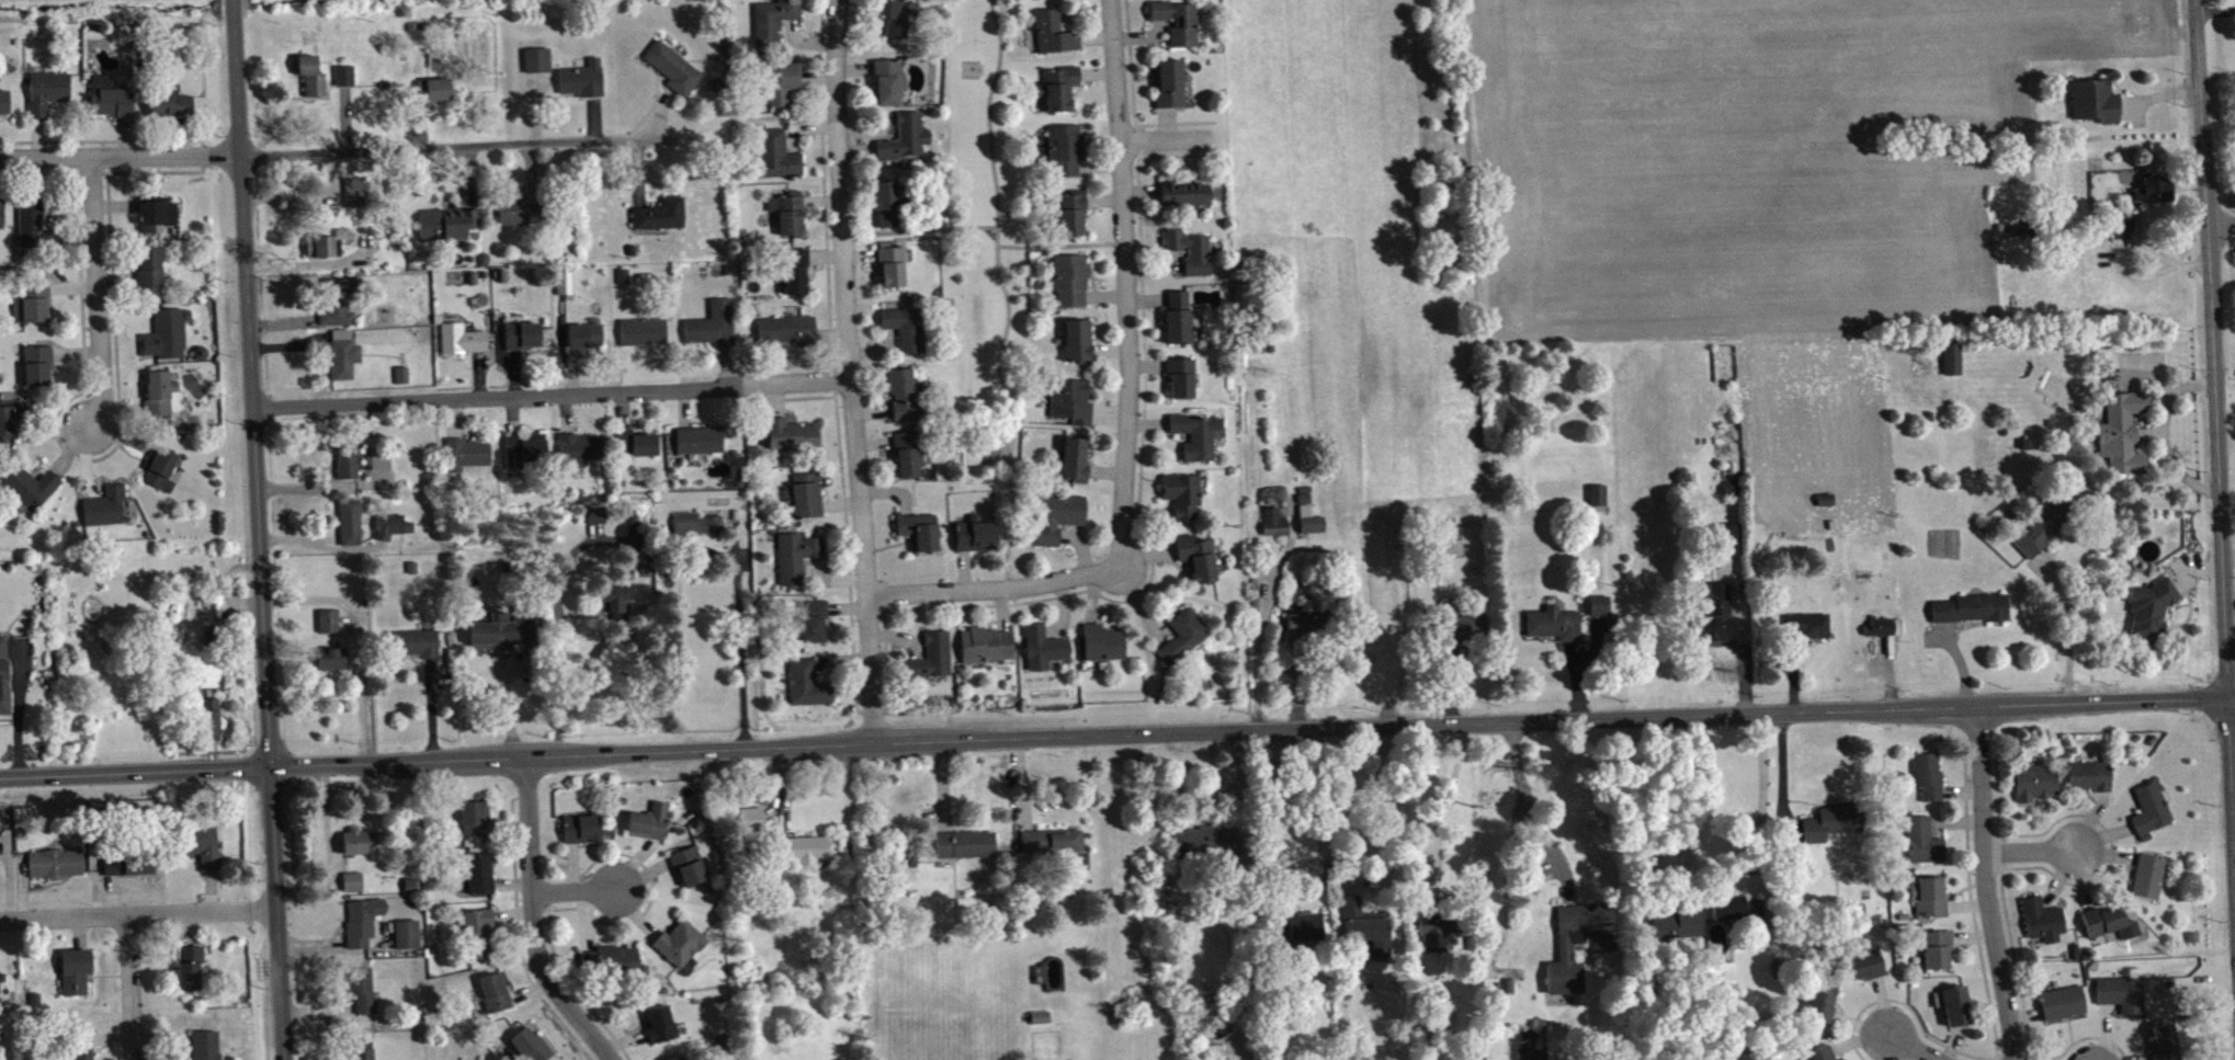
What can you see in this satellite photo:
building: (893, 16)
road: (2216, 19)
building: (1176, 20)
building: (770, 22)
building: (1051, 32)
road: (819, 56)
building: (535, 59)
building: (671, 67)
building: (309, 75)
building: (342, 75)
building: (580, 78)
building: (887, 80)
building: (780, 81)
building: (1166, 82)
building: (1056, 86)
building: (431, 90)
building: (45, 91)
building: (107, 96)
building: (2, 100)
road: (1132, 101)
building: (168, 103)
building: (2097, 106)
road: (775, 116)
road: (343, 117)
road: (420, 126)
road: (123, 135)
road: (183, 135)
road: (36, 136)
building: (903, 136)
road: (105, 139)
road: (465, 145)
road: (1167, 145)
building: (1064, 147)
building: (774, 153)
road: (120, 155)
road: (202, 158)
road: (1136, 164)
road: (151, 170)
road: (88, 171)
road: (531, 171)
road: (37, 172)
road: (822, 172)
road: (466, 176)
building: (353, 191)
building: (1181, 194)
building: (2157, 195)
road: (307, 196)
building: (884, 203)
road: (114, 205)
road: (64, 207)
building: (515, 209)
building: (786, 210)
building: (1, 212)
building: (1067, 212)
building: (154, 213)
building: (658, 214)
building: (34, 223)
building: (445, 223)
building: (2124, 228)
road: (2222, 228)
road: (923, 229)
building: (320, 246)
road: (1054, 246)
building: (1184, 247)
road: (314, 262)
building: (888, 262)
building: (148, 264)
building: (793, 267)
road: (115, 276)
building: (1068, 277)
building: (563, 282)
road: (1126, 283)
road: (71, 285)
road: (1003, 288)
road: (97, 292)
building: (336, 298)
building: (31, 299)
road: (126, 314)
building: (1177, 318)
road: (283, 320)
building: (711, 323)
building: (904, 327)
building: (785, 330)
building: (164, 331)
building: (642, 331)
building: (521, 334)
building: (582, 334)
building: (461, 338)
road: (829, 339)
building: (1076, 340)
road: (290, 343)
road: (75, 352)
building: (341, 353)
building: (35, 361)
road: (1144, 363)
building: (1954, 365)
road: (847, 369)
building: (400, 372)
road: (512, 372)
road: (478, 374)
building: (1178, 375)
building: (405, 380)
road: (251, 381)
building: (157, 390)
building: (904, 392)
road: (549, 394)
building: (1068, 399)
road: (122, 407)
building: (12, 411)
road: (511, 414)
building: (24, 415)
road: (453, 417)
road: (48, 431)
building: (789, 434)
building: (1194, 434)
road: (118, 436)
building: (2123, 438)
building: (696, 440)
building: (634, 441)
building: (523, 447)
road: (69, 448)
building: (578, 448)
road: (2216, 449)
building: (465, 451)
building: (906, 452)
building: (376, 457)
road: (80, 458)
building: (1071, 458)
building: (347, 460)
building: (159, 464)
road: (84, 465)
building: (383, 466)
building: (27, 483)
road: (328, 485)
building: (1180, 493)
building: (804, 494)
road: (842, 498)
building: (1599, 501)
building: (104, 504)
building: (593, 514)
building: (1055, 515)
building: (631, 516)
building: (348, 518)
building: (1311, 518)
building: (598, 521)
building: (390, 523)
building: (694, 523)
building: (2052, 527)
building: (1277, 528)
building: (917, 529)
building: (395, 532)
building: (977, 539)
road: (322, 545)
building: (1731, 545)
building: (1453, 552)
building: (794, 555)
building: (1194, 556)
road: (227, 584)
road: (994, 593)
road: (1130, 597)
building: (613, 600)
road: (948, 606)
building: (1601, 611)
building: (2152, 613)
building: (1972, 614)
building: (328, 618)
building: (810, 619)
road: (853, 619)
building: (1720, 620)
road: (345, 622)
road: (2066, 625)
building: (502, 626)
road: (883, 629)
building: (1556, 629)
building: (1307, 631)
building: (1811, 631)
building: (1466, 632)
building: (1886, 632)
building: (1180, 635)
road: (355, 638)
building: (412, 640)
building: (1100, 641)
building: (983, 643)
building: (1040, 645)
road: (744, 652)
road: (1744, 652)
building: (330, 656)
building: (929, 657)
building: (2, 675)
building: (804, 682)
road: (555, 683)
road: (507, 698)
road: (18, 702)
road: (854, 702)
road: (431, 706)
building: (204, 714)
road: (1116, 732)
traffic signals: (269, 765)
building: (1929, 780)
building: (2092, 782)
building: (2037, 788)
road: (1754, 795)
road: (1521, 801)
road: (1438, 805)
building: (2152, 816)
building: (473, 817)
road: (324, 822)
building: (752, 825)
road: (507, 828)
building: (651, 828)
building: (1834, 828)
road: (1679, 833)
building: (583, 834)
building: (355, 837)
building: (197, 842)
building: (360, 847)
building: (1206, 847)
building: (1925, 847)
building: (967, 850)
road: (2030, 855)
building: (813, 856)
building: (54, 860)
road: (93, 860)
building: (126, 860)
road: (1354, 867)
road: (1286, 868)
building: (132, 870)
building: (478, 870)
building: (690, 871)
road: (8, 878)
building: (351, 879)
building: (2149, 881)
road: (308, 882)
road: (511, 882)
road: (1986, 884)
road: (20, 886)
building: (354, 888)
road: (575, 888)
road: (209, 889)
road: (112, 892)
building: (1929, 902)
road: (558, 907)
road: (511, 911)
road: (275, 912)
road: (137, 913)
building: (1735, 913)
building: (361, 919)
road: (532, 919)
road: (532, 924)
building: (2044, 926)
building: (2104, 926)
road: (185, 927)
building: (476, 930)
building: (1676, 930)
road: (79, 931)
building: (405, 932)
building: (1366, 932)
road: (518, 933)
building: (1306, 934)
building: (1440, 936)
road: (334, 946)
building: (1580, 948)
road: (337, 949)
building: (682, 949)
building: (1938, 955)
building: (188, 964)
building: (612, 965)
building: (73, 967)
building: (1865, 971)
road: (564, 972)
building: (2, 974)
road: (128, 987)
building: (361, 987)
road: (527, 988)
building: (0, 990)
building: (493, 990)
building: (2123, 1000)
building: (1823, 1005)
road: (317, 1007)
building: (2064, 1008)
building: (1958, 1012)
building: (1042, 1023)
building: (662, 1029)
road: (162, 1035)
road: (110, 1037)
building: (201, 1045)
building: (79, 1046)
building: (2166, 1046)
road: (1907, 1047)
building: (532, 1048)
building: (365, 1052)
building: (1822, 1057)

